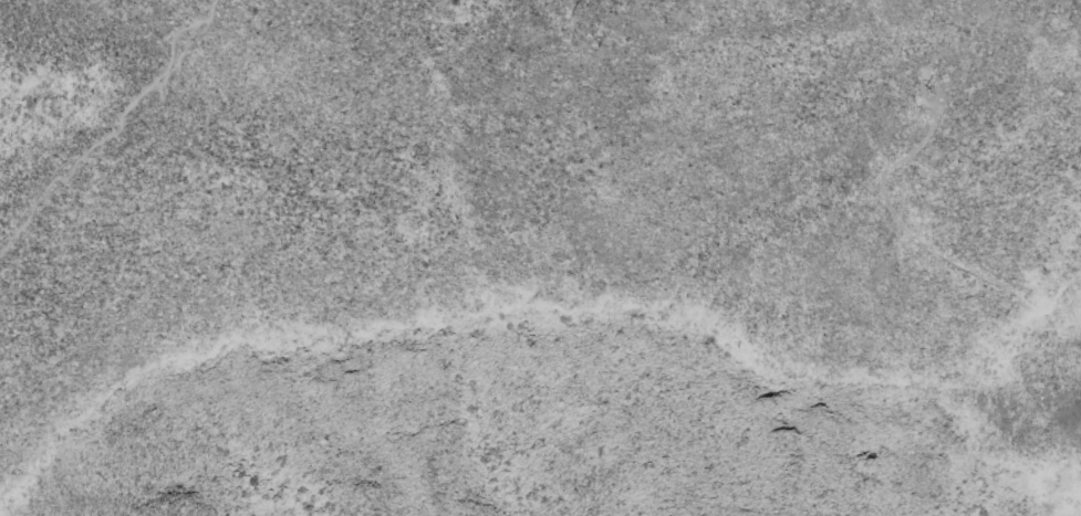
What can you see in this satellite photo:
road: (111, 127)
park: (540, 257)

